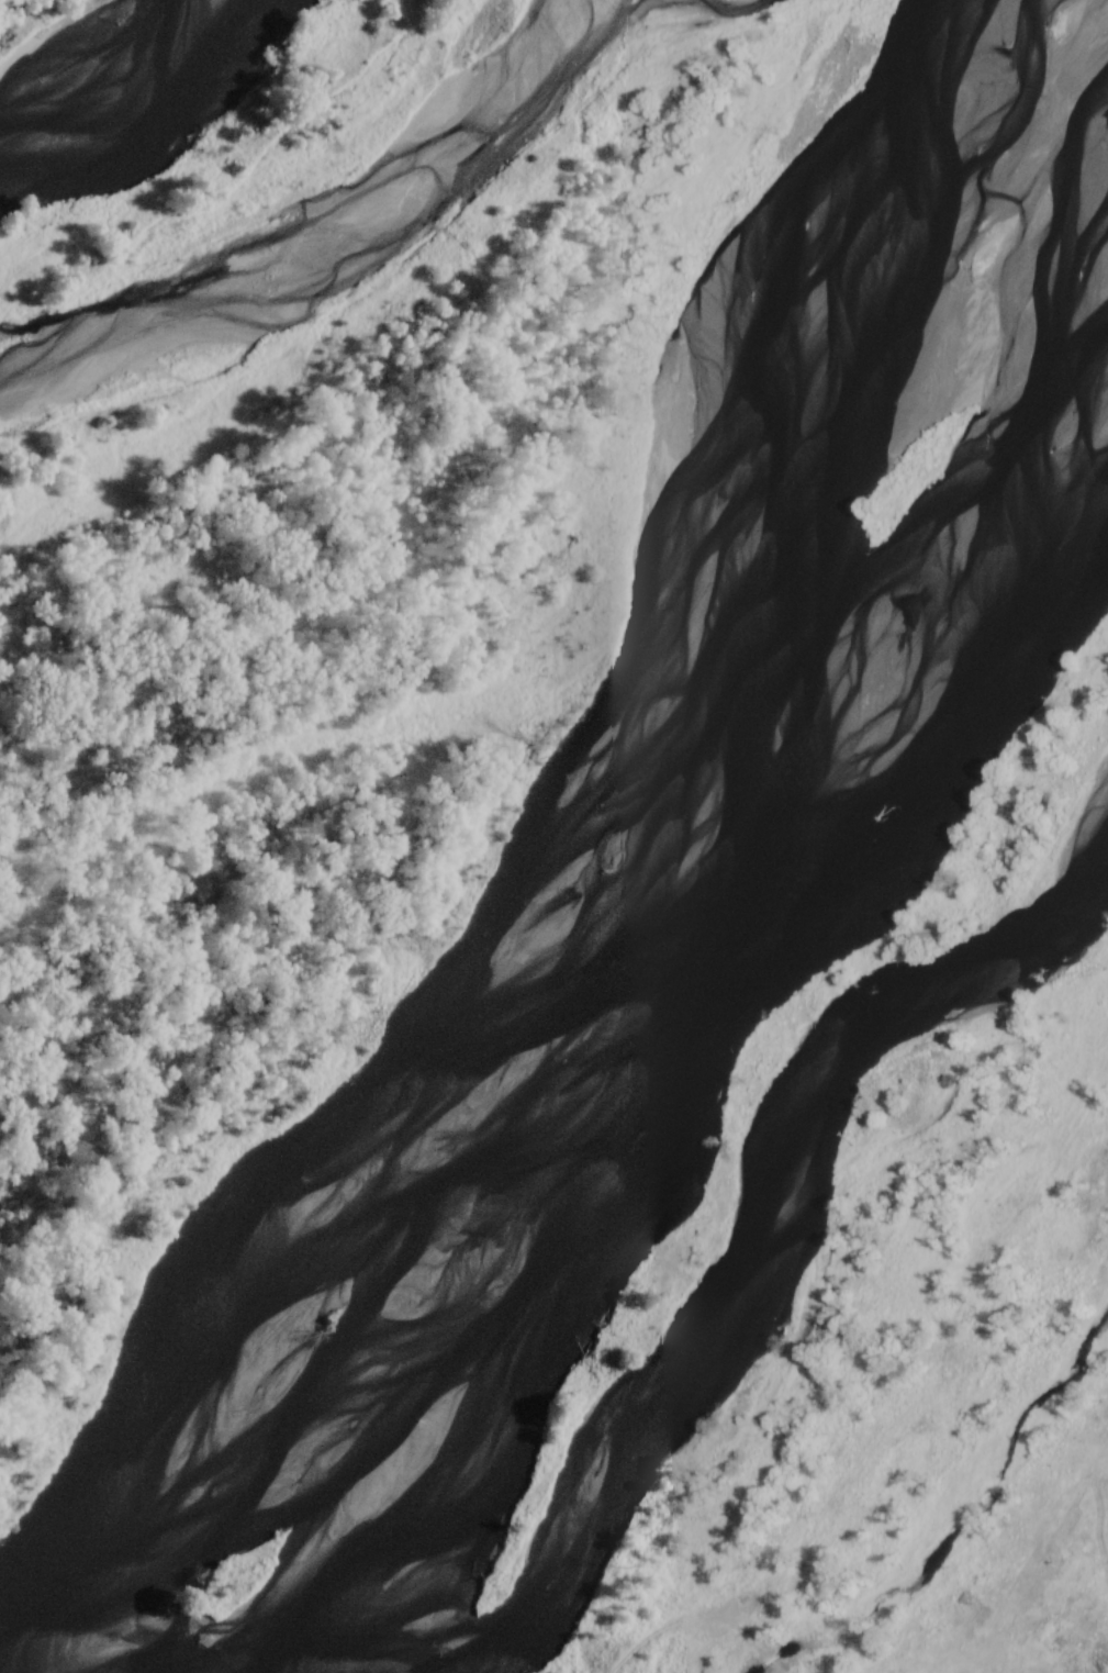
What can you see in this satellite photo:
river: (615, 946)

